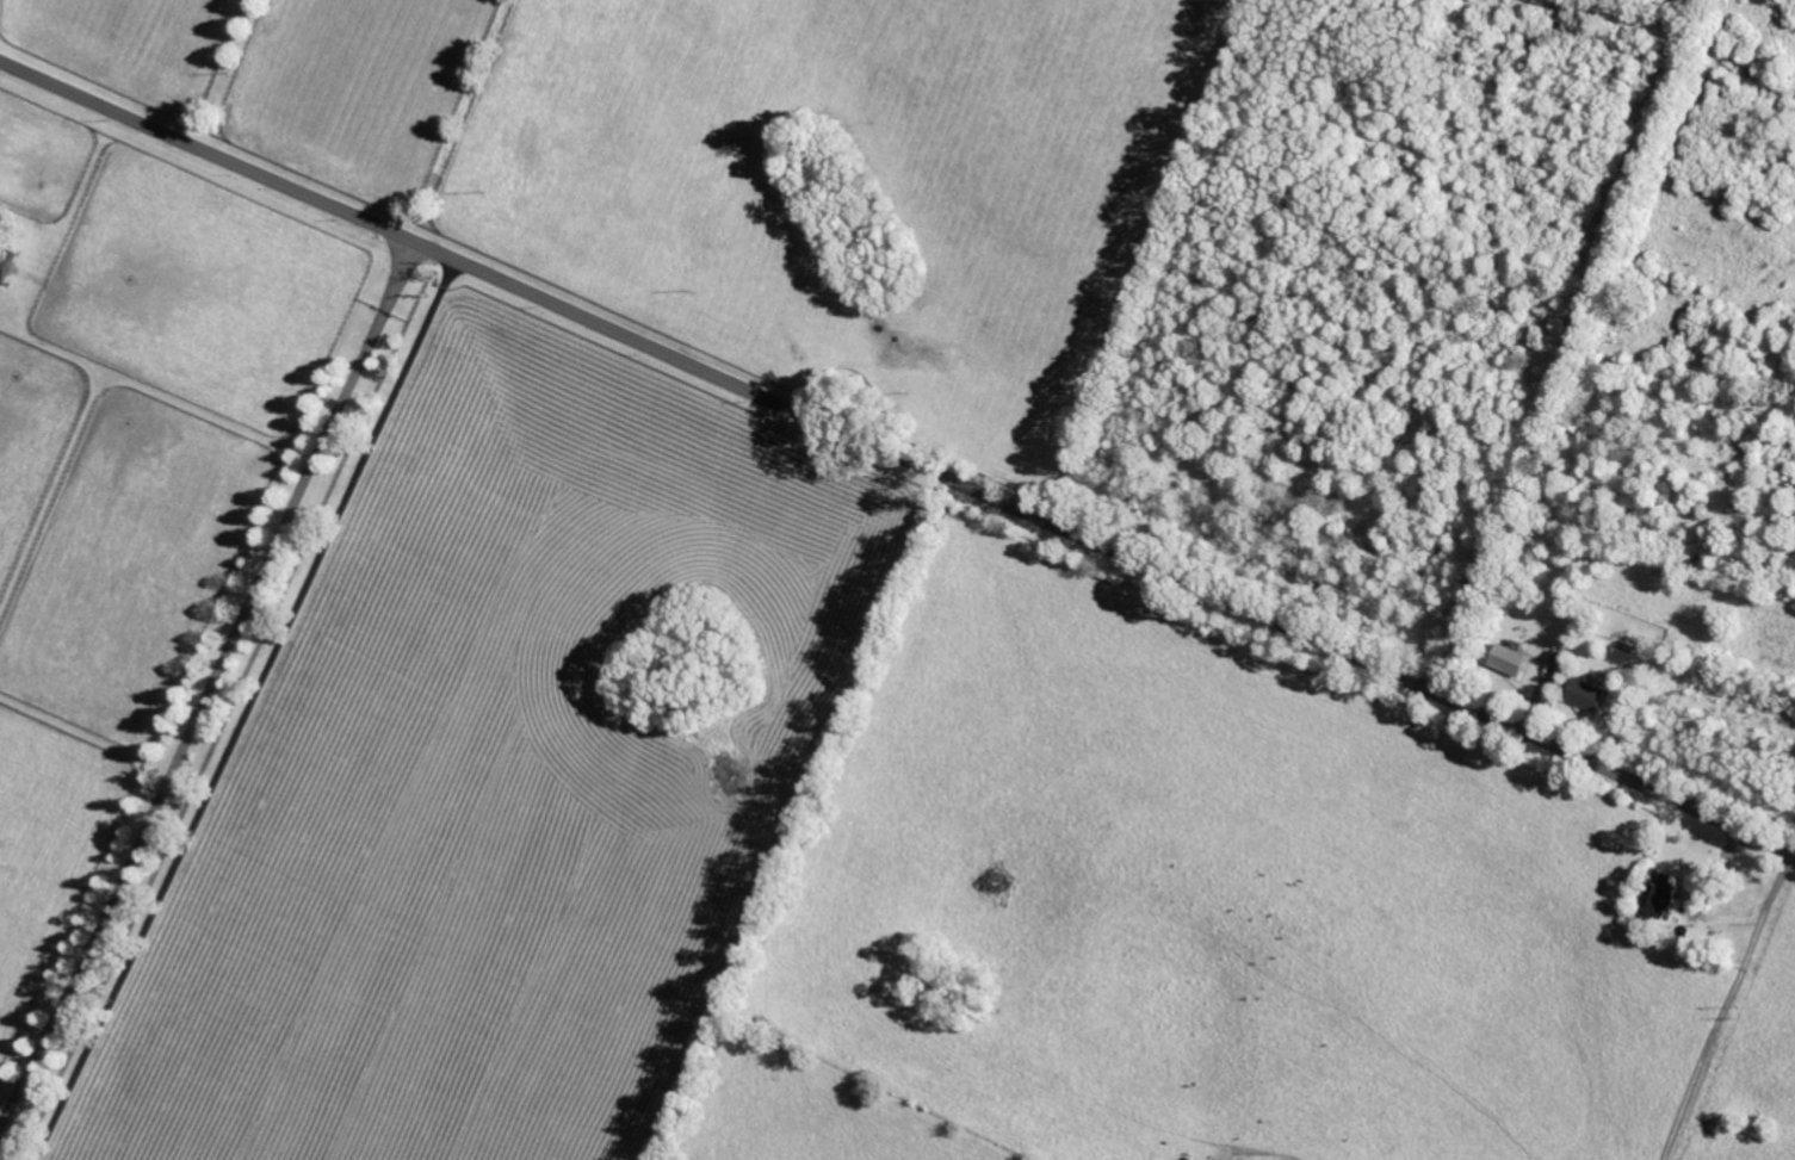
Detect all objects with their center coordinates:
road: (1151, 259)
building: (4, 267)
road: (897, 455)
building: (1504, 657)
road: (211, 688)
building: (1583, 693)
road: (247, 711)
building: (1657, 895)
road: (1692, 905)
road: (1726, 1005)

